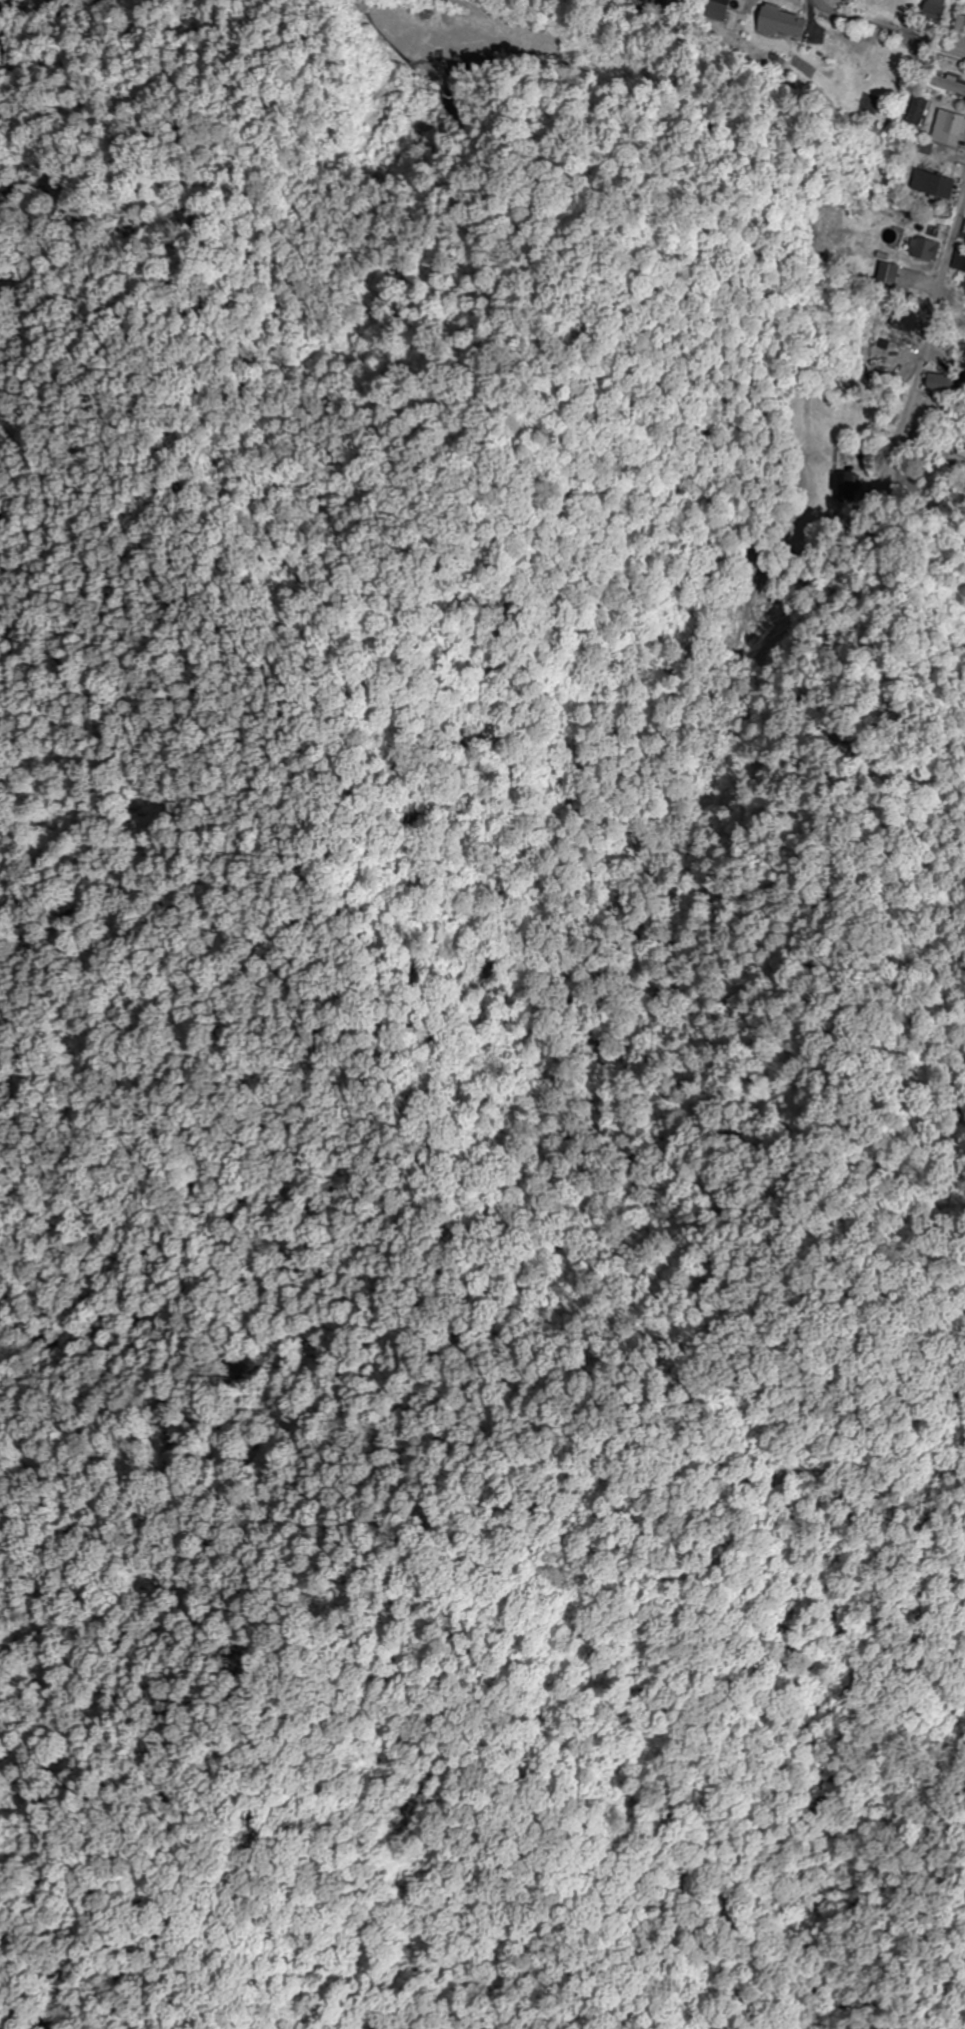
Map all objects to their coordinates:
building: (842, 0)
road: (10, 3)
road: (451, 3)
building: (671, 5)
building: (719, 9)
building: (934, 12)
building: (783, 22)
building: (961, 24)
road: (891, 30)
building: (948, 85)
building: (917, 111)
building: (949, 128)
building: (933, 184)
building: (924, 248)
building: (959, 260)
road: (935, 313)
building: (946, 389)

